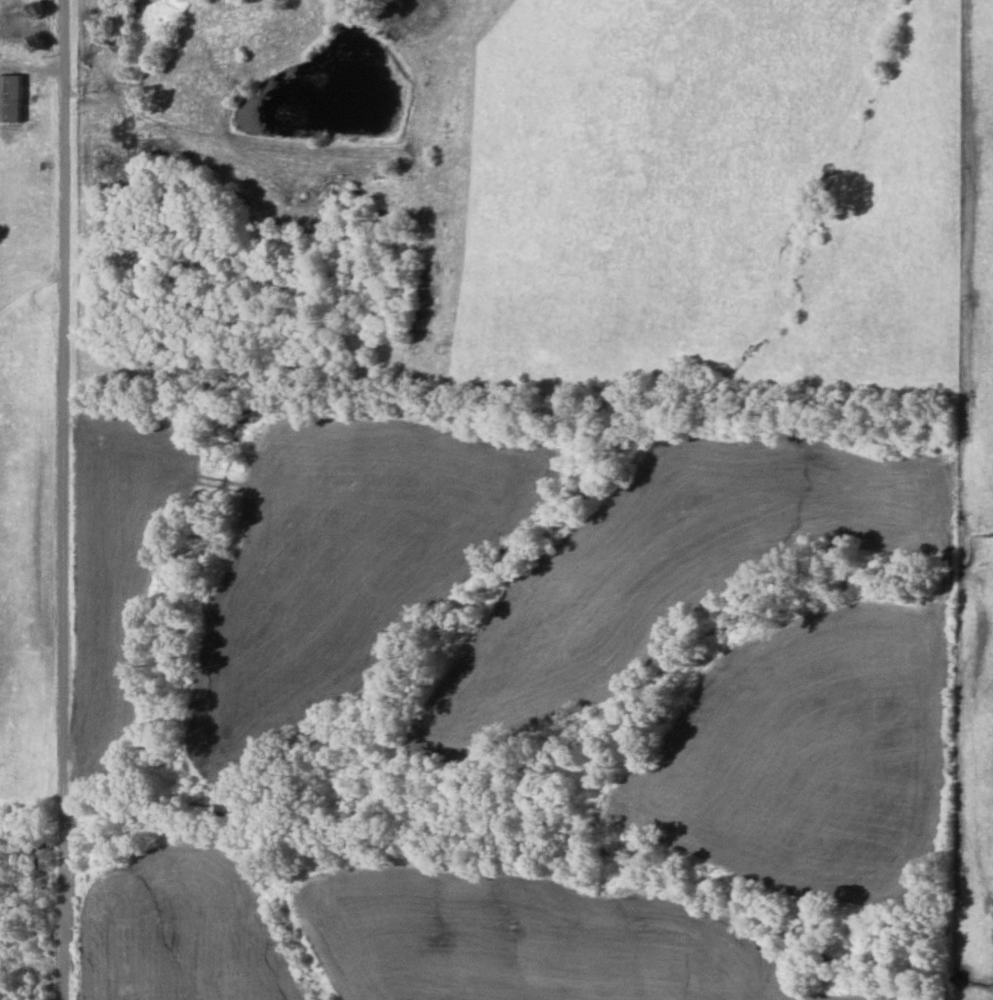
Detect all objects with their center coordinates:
building: (14, 95)
road: (64, 500)

